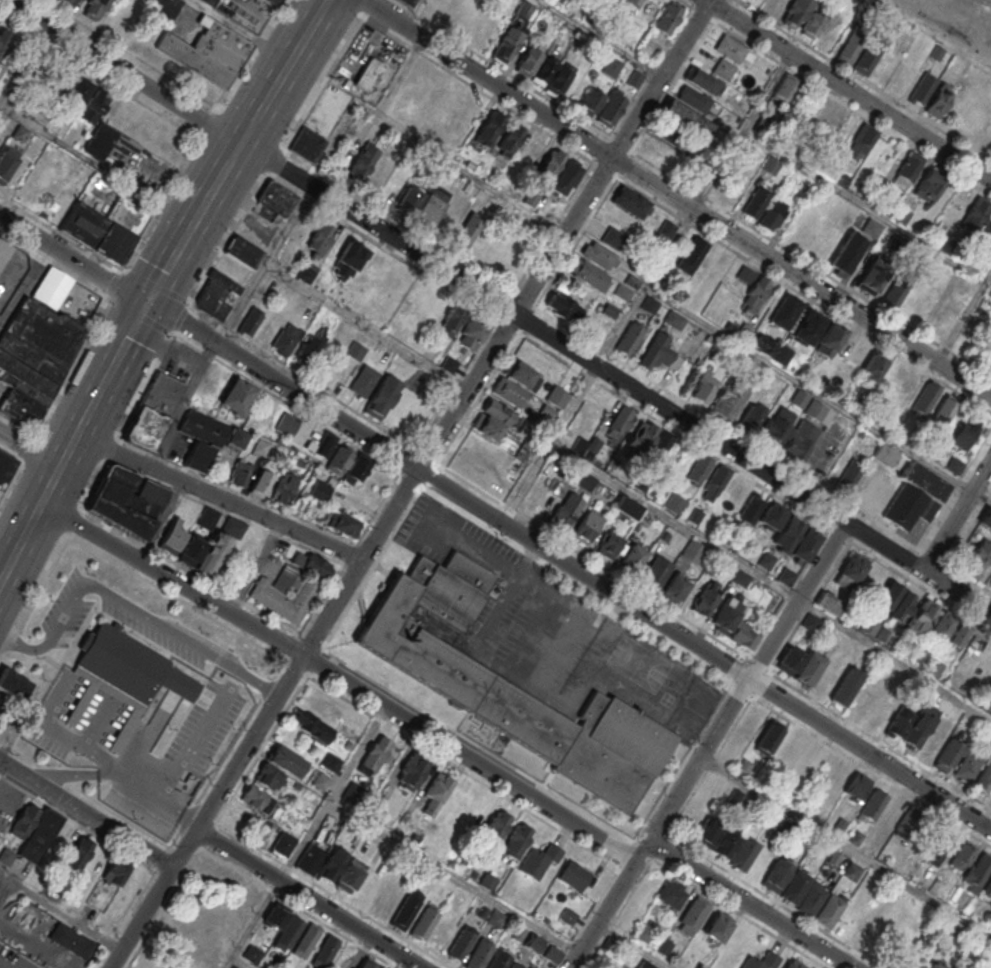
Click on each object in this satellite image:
building: (210, 1)
building: (275, 1)
building: (613, 1)
building: (69, 2)
building: (405, 2)
building: (756, 2)
building: (632, 3)
building: (434, 6)
road: (367, 7)
building: (94, 9)
building: (165, 9)
building: (796, 12)
road: (410, 13)
building: (465, 15)
building: (667, 17)
building: (123, 19)
building: (813, 23)
road: (948, 26)
road: (242, 29)
building: (513, 31)
road: (599, 38)
building: (4, 41)
building: (851, 44)
building: (734, 50)
building: (208, 51)
building: (879, 58)
building: (528, 59)
building: (611, 66)
road: (25, 68)
building: (723, 68)
road: (283, 71)
road: (123, 72)
building: (368, 75)
building: (551, 76)
building: (703, 80)
building: (923, 87)
building: (787, 88)
road: (848, 89)
building: (74, 95)
building: (694, 98)
building: (410, 99)
building: (940, 99)
building: (589, 102)
building: (94, 105)
building: (610, 108)
building: (441, 111)
building: (687, 118)
building: (488, 129)
building: (19, 134)
building: (508, 140)
building: (107, 141)
building: (861, 141)
building: (307, 144)
road: (434, 151)
building: (7, 161)
road: (97, 165)
building: (548, 167)
building: (369, 168)
building: (908, 169)
building: (564, 177)
building: (931, 182)
building: (736, 185)
road: (676, 198)
building: (408, 199)
building: (273, 200)
building: (631, 202)
building: (756, 202)
building: (431, 204)
building: (976, 214)
building: (771, 215)
road: (193, 222)
building: (105, 227)
building: (872, 227)
building: (667, 228)
road: (898, 228)
building: (466, 231)
building: (614, 237)
building: (320, 239)
building: (822, 241)
building: (481, 246)
building: (242, 251)
building: (846, 253)
building: (599, 255)
building: (691, 255)
building: (350, 256)
building: (500, 256)
road: (72, 259)
road: (262, 264)
building: (307, 272)
building: (588, 274)
building: (872, 275)
building: (51, 287)
road: (644, 287)
building: (753, 289)
building: (896, 292)
building: (217, 294)
building: (343, 296)
traffic signals: (147, 303)
building: (563, 307)
building: (786, 311)
building: (674, 319)
road: (963, 319)
building: (250, 321)
building: (450, 322)
building: (810, 326)
road: (364, 328)
building: (471, 333)
building: (286, 338)
building: (631, 338)
building: (830, 339)
road: (124, 343)
building: (772, 348)
building: (308, 350)
building: (355, 350)
building: (660, 352)
building: (34, 358)
building: (874, 365)
building: (522, 375)
road: (616, 378)
building: (363, 380)
building: (903, 383)
building: (704, 386)
building: (509, 392)
building: (237, 396)
building: (382, 396)
building: (557, 396)
building: (926, 397)
building: (730, 399)
road: (182, 405)
building: (153, 410)
building: (944, 410)
building: (818, 411)
building: (752, 415)
building: (493, 419)
building: (620, 422)
building: (777, 425)
building: (203, 427)
building: (965, 431)
building: (642, 436)
building: (236, 438)
building: (800, 440)
building: (324, 443)
road: (549, 444)
building: (260, 447)
building: (590, 447)
road: (29, 450)
building: (886, 453)
building: (197, 456)
building: (348, 463)
building: (954, 465)
building: (5, 467)
building: (699, 469)
building: (240, 473)
building: (850, 474)
road: (10, 479)
road: (50, 482)
building: (260, 483)
road: (408, 483)
building: (715, 483)
building: (283, 488)
building: (320, 490)
building: (916, 496)
road: (981, 496)
road: (218, 497)
building: (128, 500)
building: (675, 503)
building: (626, 507)
building: (751, 508)
building: (565, 510)
road: (956, 514)
building: (771, 516)
building: (208, 517)
building: (985, 517)
building: (343, 525)
building: (587, 527)
building: (786, 534)
building: (172, 536)
building: (609, 544)
building: (805, 544)
building: (210, 547)
building: (693, 550)
building: (980, 554)
building: (631, 557)
building: (765, 559)
road: (569, 566)
road: (254, 568)
building: (850, 571)
building: (656, 572)
building: (786, 576)
building: (740, 577)
road: (770, 581)
building: (290, 587)
building: (675, 587)
building: (705, 598)
building: (895, 601)
building: (829, 603)
road: (129, 608)
building: (922, 616)
building: (733, 622)
building: (811, 622)
building: (950, 628)
building: (875, 629)
parking lot: (552, 633)
road: (322, 646)
building: (927, 660)
building: (985, 661)
building: (808, 669)
building: (124, 674)
road: (339, 679)
building: (14, 684)
building: (509, 685)
building: (846, 687)
road: (742, 689)
building: (864, 699)
building: (883, 710)
road: (389, 725)
building: (898, 725)
building: (311, 726)
building: (920, 726)
building: (769, 736)
road: (194, 743)
road: (707, 745)
building: (376, 753)
building: (948, 756)
building: (329, 761)
building: (278, 767)
building: (967, 767)
road: (123, 773)
building: (410, 773)
building: (984, 778)
building: (320, 781)
building: (856, 785)
road: (8, 788)
building: (352, 792)
building: (436, 794)
building: (259, 800)
building: (872, 805)
road: (86, 813)
building: (24, 820)
building: (910, 822)
building: (261, 826)
building: (495, 827)
building: (707, 831)
road: (309, 833)
building: (40, 835)
building: (516, 840)
building: (728, 842)
building: (283, 844)
building: (939, 845)
road: (845, 847)
building: (964, 852)
road: (626, 853)
building: (77, 855)
building: (744, 855)
building: (310, 860)
building: (539, 861)
building: (332, 864)
road: (238, 870)
building: (852, 871)
building: (114, 872)
building: (977, 873)
building: (350, 875)
building: (574, 875)
building: (777, 876)
road: (453, 878)
road: (6, 884)
road: (320, 888)
building: (796, 888)
building: (987, 889)
building: (671, 893)
road: (310, 898)
building: (812, 900)
building: (907, 903)
road: (750, 904)
building: (405, 909)
building: (829, 911)
building: (695, 913)
road: (64, 915)
road: (588, 918)
building: (425, 923)
building: (283, 926)
building: (718, 926)
building: (645, 929)
building: (442, 933)
building: (71, 940)
building: (306, 940)
building: (533, 942)
road: (36, 945)
building: (460, 945)
road: (634, 945)
building: (732, 949)
building: (325, 951)
building: (553, 953)
building: (252, 954)
building: (479, 955)
building: (499, 961)
building: (763, 961)
building: (987, 961)
road: (228, 963)
road: (238, 963)
building: (794, 963)
building: (646, 964)
building: (516, 965)
building: (937, 965)
building: (954, 966)
road: (1, 967)
building: (381, 967)

